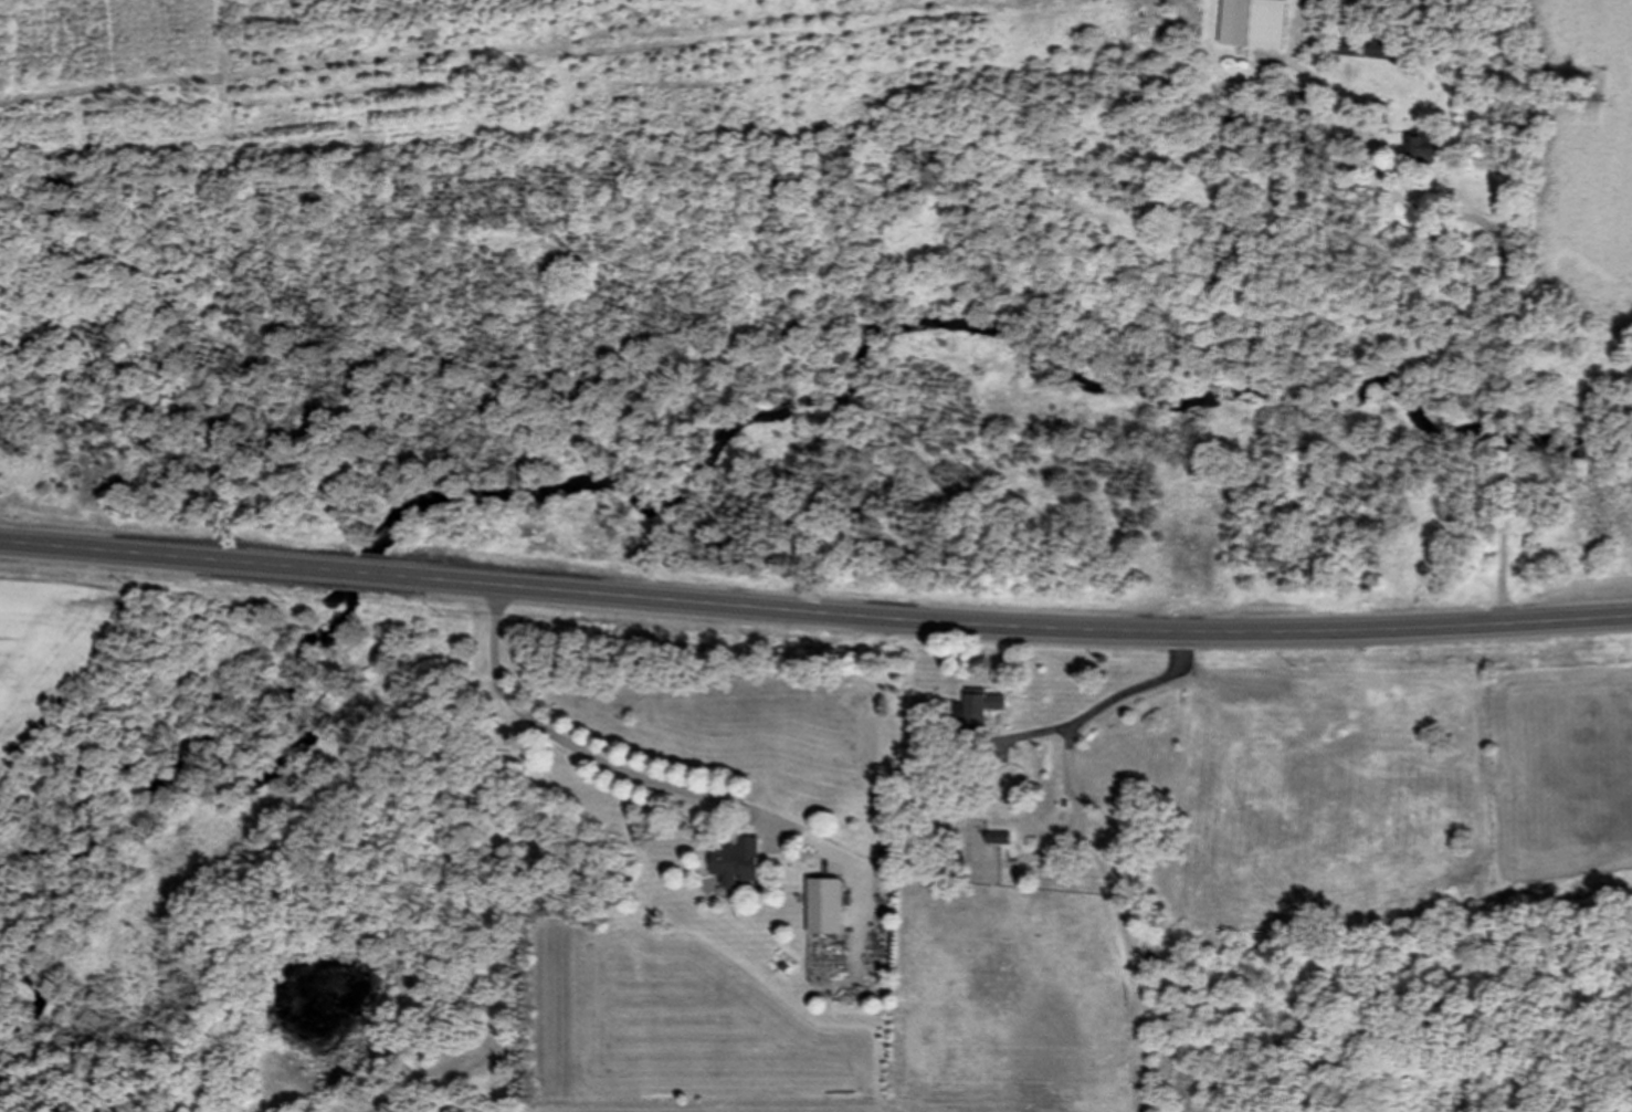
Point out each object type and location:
building: (1256, 23)
building: (1373, 49)
road: (1329, 86)
building: (1312, 117)
building: (1430, 145)
road: (1512, 352)
road: (814, 622)
road: (1109, 704)
building: (976, 712)
road: (625, 769)
building: (1000, 838)
building: (739, 862)
building: (828, 906)

